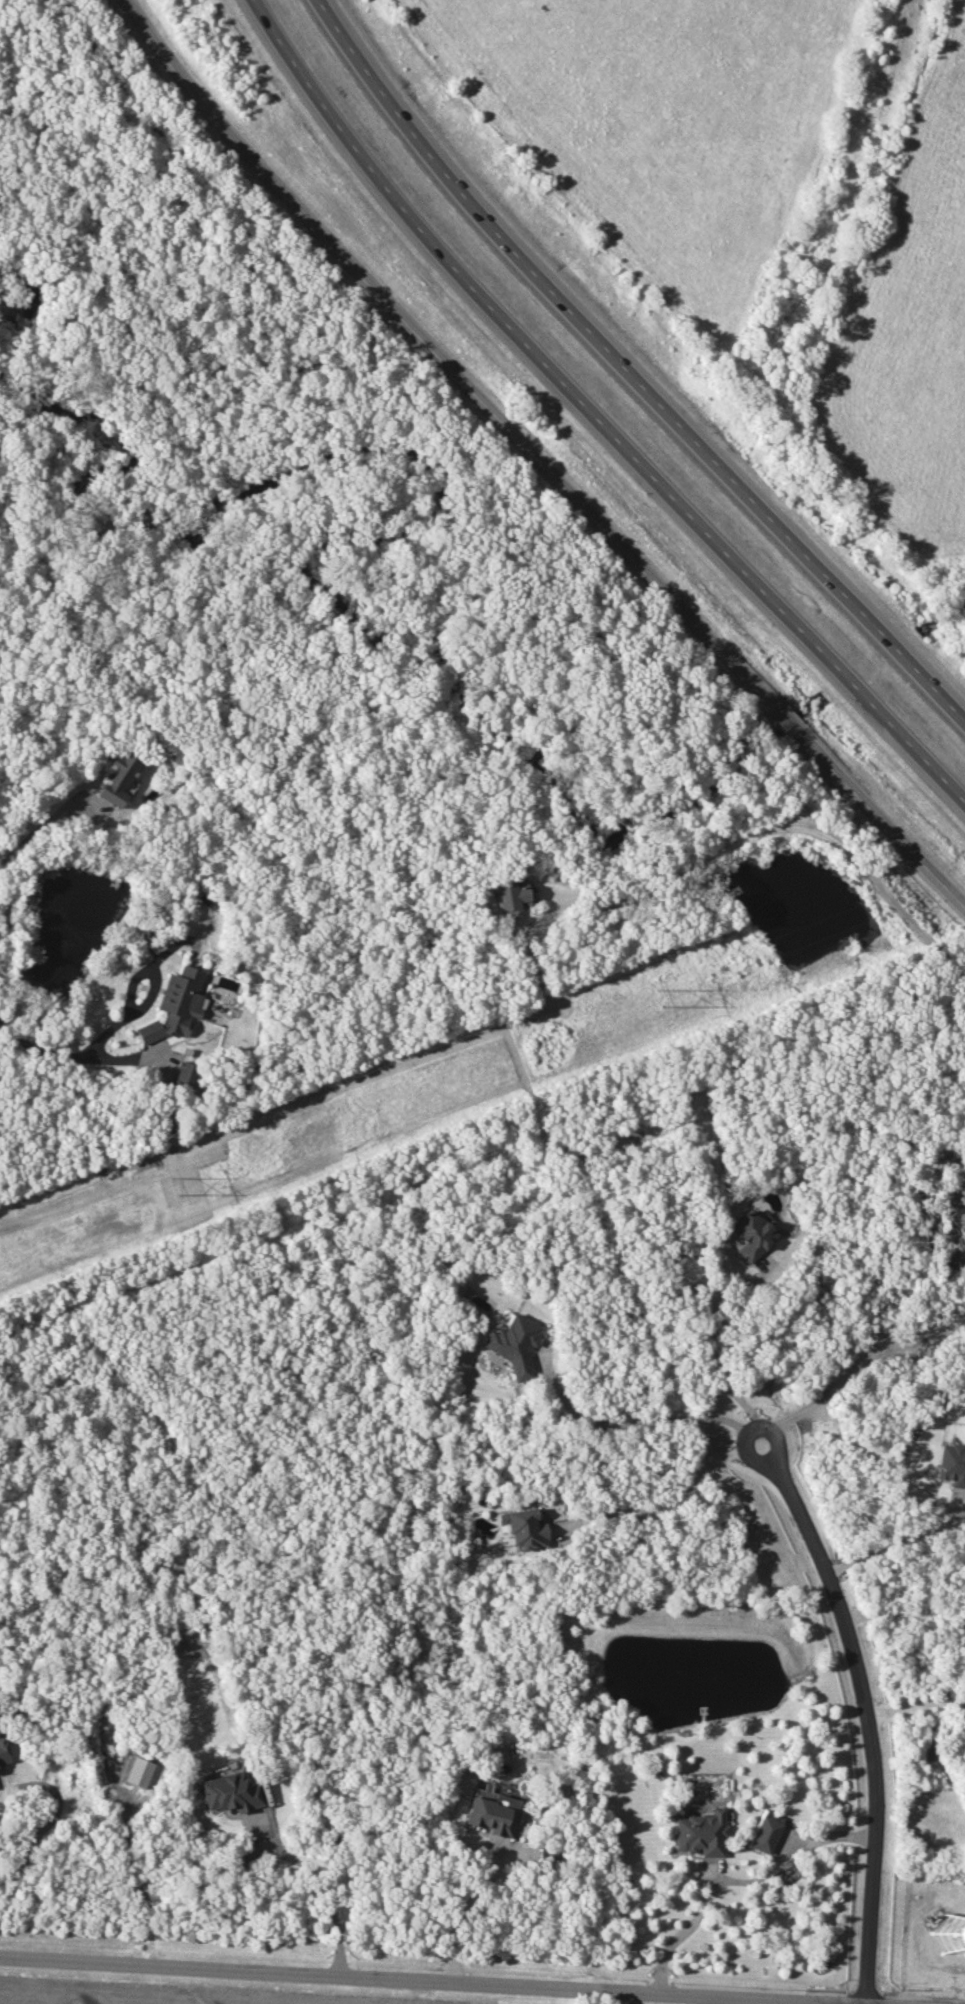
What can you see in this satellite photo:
road: (443, 358)
road: (630, 363)
road: (597, 410)
road: (787, 719)
building: (116, 778)
road: (882, 819)
road: (783, 826)
road: (32, 835)
building: (512, 896)
road: (151, 972)
power tower: (663, 995)
building: (175, 1005)
road: (65, 1054)
building: (185, 1074)
power tower: (183, 1178)
building: (752, 1233)
building: (684, 1270)
building: (514, 1344)
road: (861, 1363)
road: (717, 1365)
road: (628, 1422)
road: (749, 1427)
building: (952, 1464)
road: (660, 1505)
building: (526, 1528)
road: (895, 1531)
road: (915, 1702)
road: (868, 1728)
building: (3, 1750)
building: (140, 1771)
building: (230, 1792)
road: (1, 1805)
building: (496, 1815)
road: (45, 1825)
building: (702, 1833)
building: (766, 1834)
road: (735, 1881)
road: (325, 1889)
road: (471, 1917)
road: (420, 1984)

